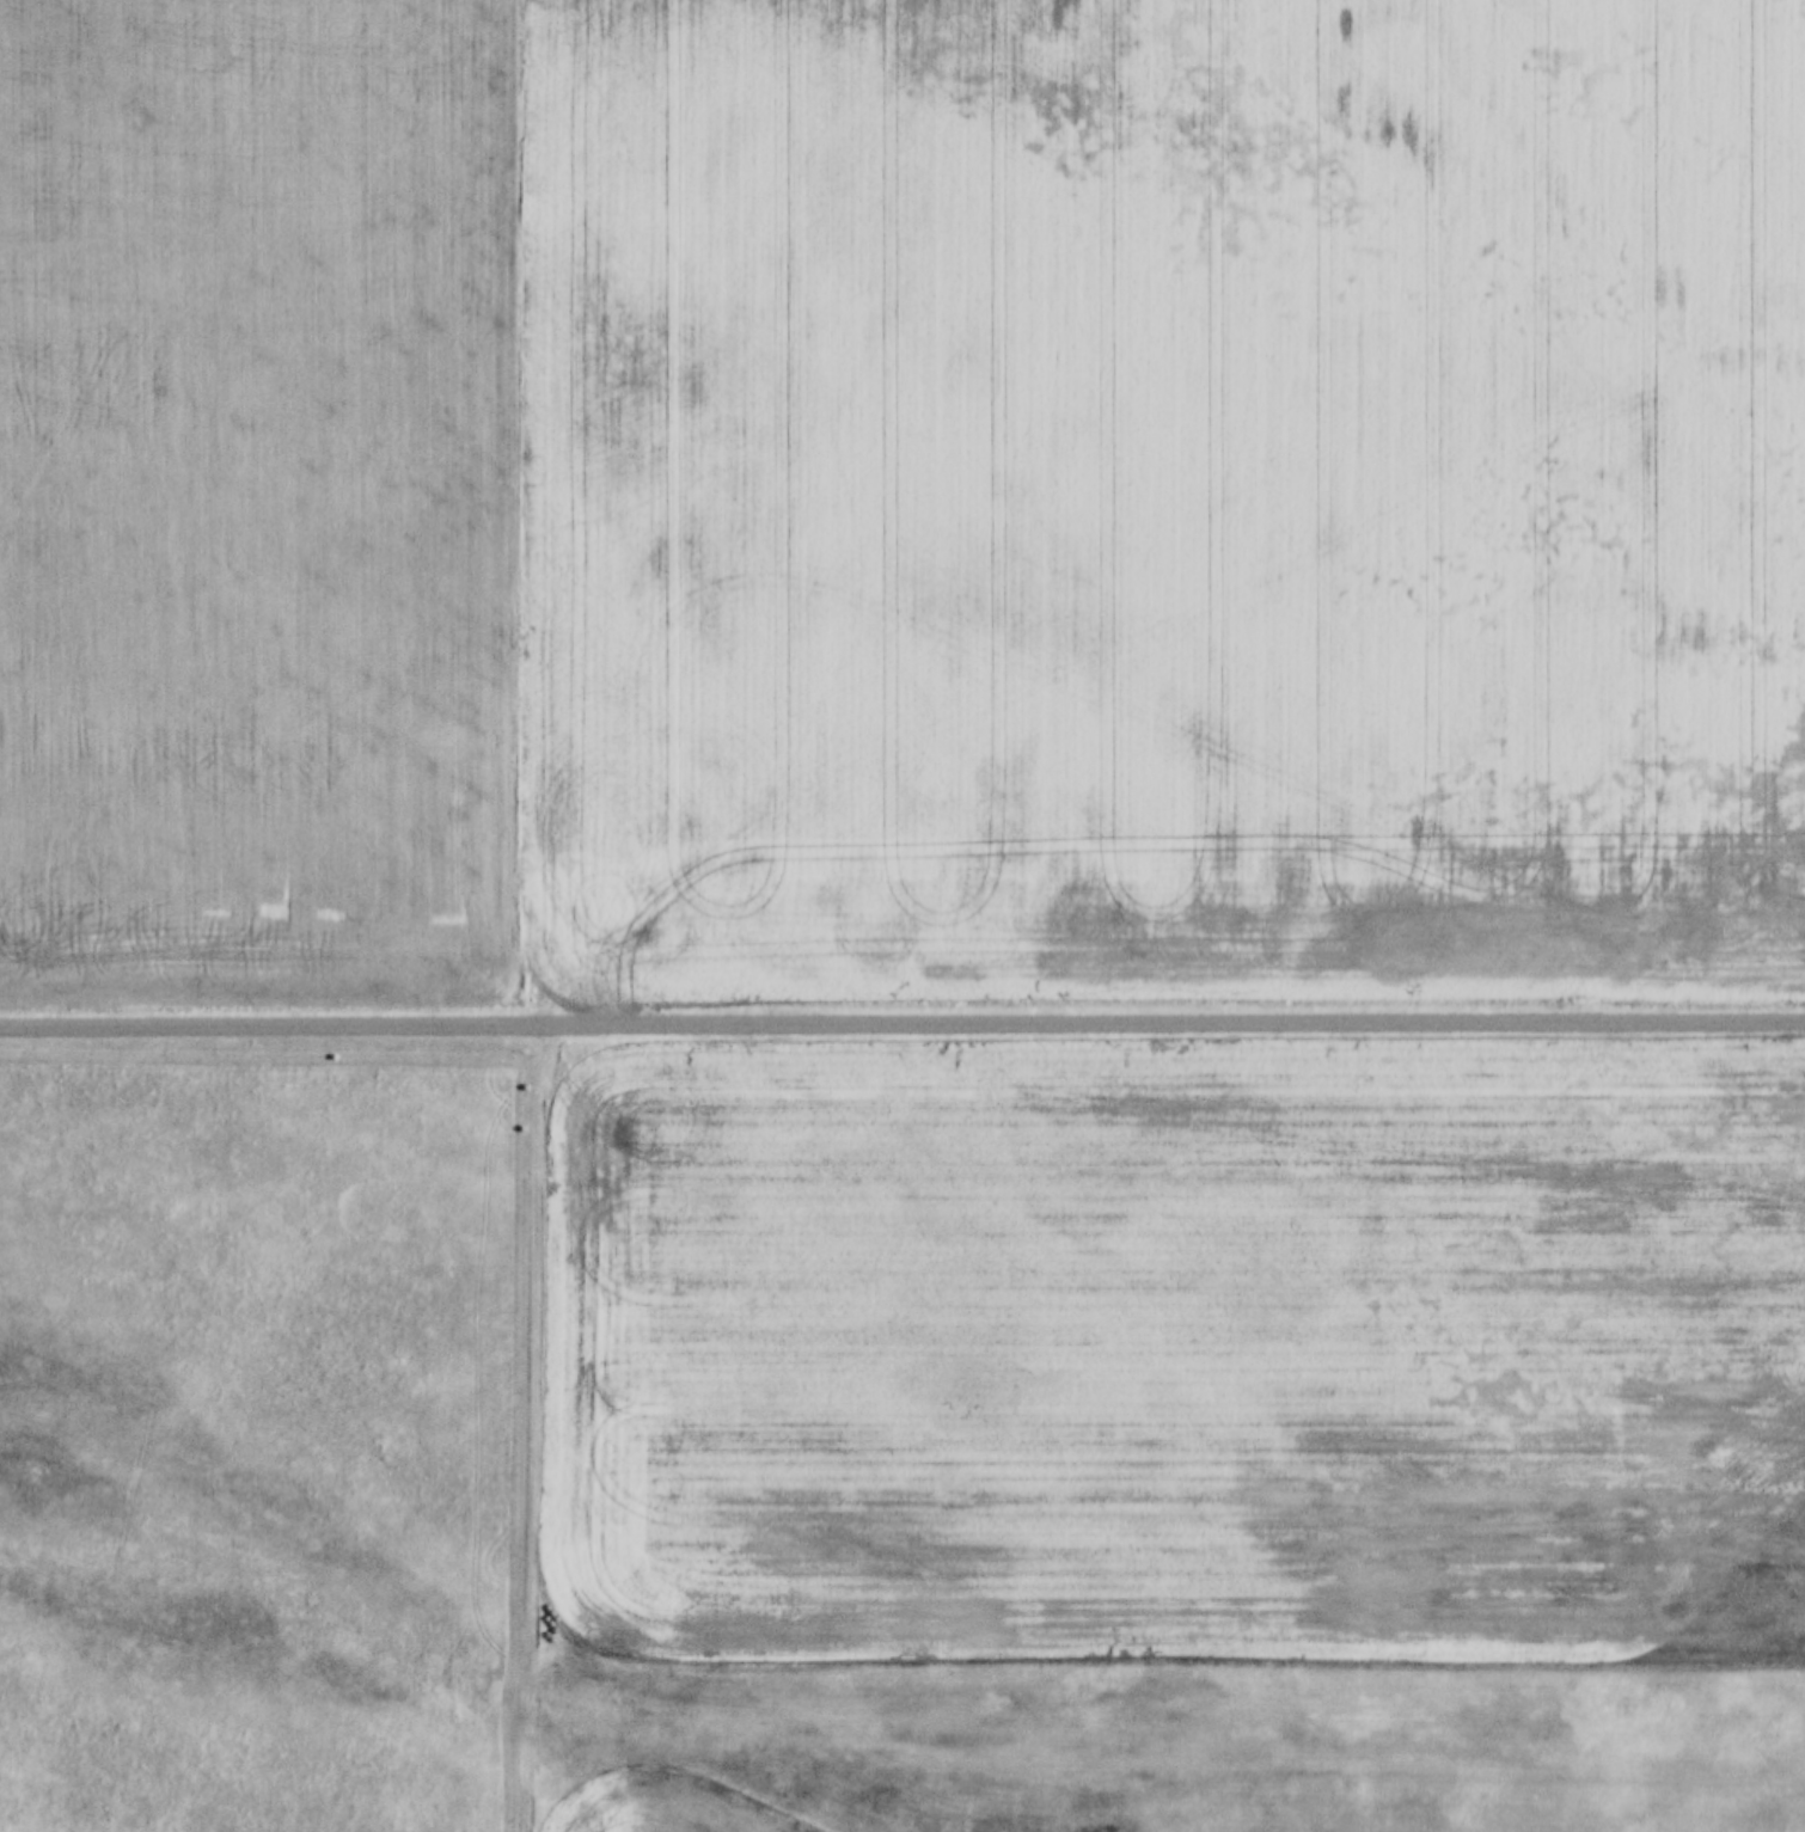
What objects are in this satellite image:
road: (901, 1019)

